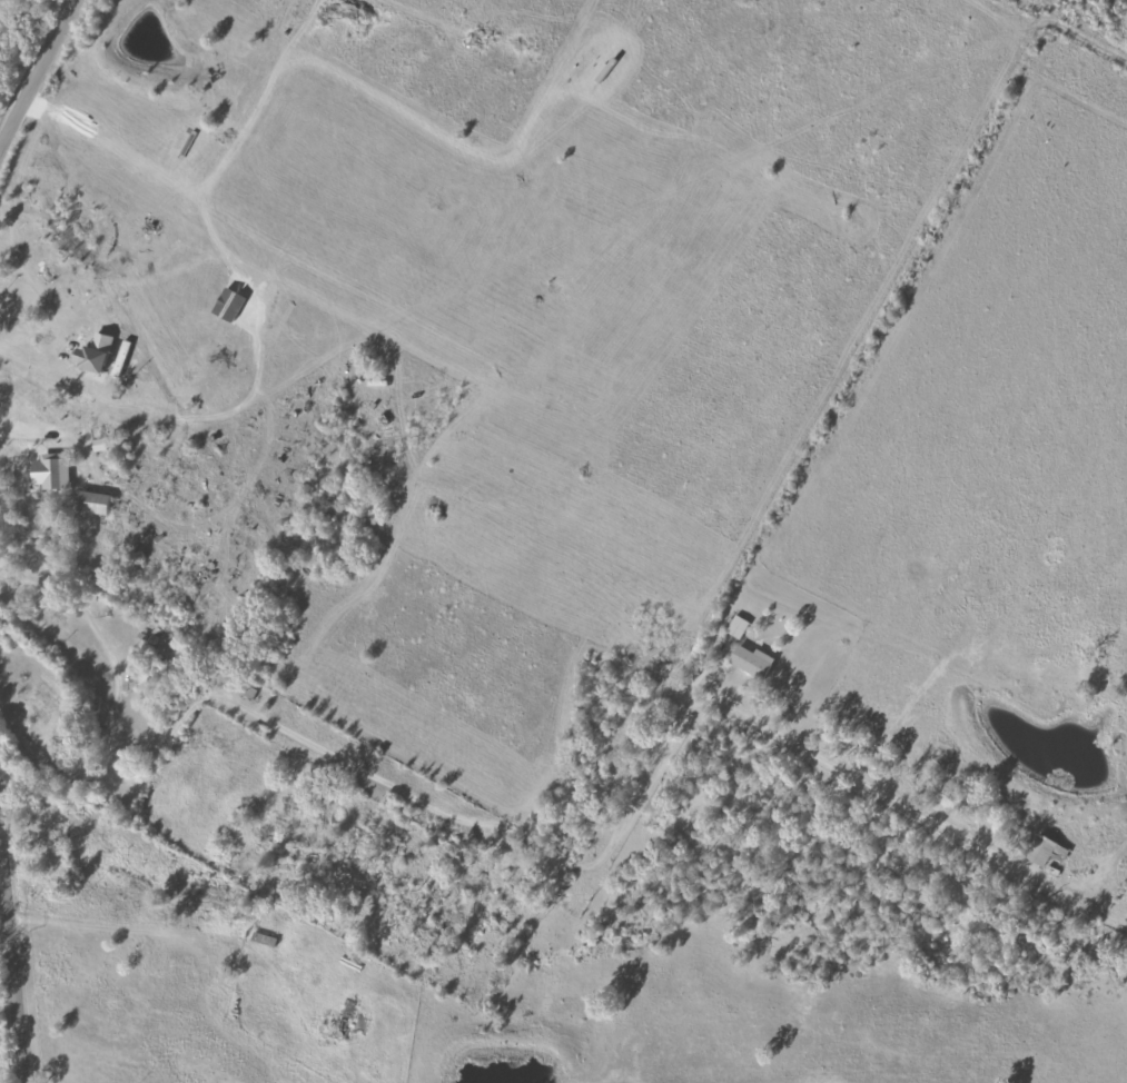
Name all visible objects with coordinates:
road: (37, 70)
building: (90, 352)
road: (23, 401)
road: (20, 443)
building: (49, 470)
building: (89, 501)
building: (736, 626)
building: (750, 660)
road: (314, 758)
building: (1044, 851)
road: (8, 1003)

